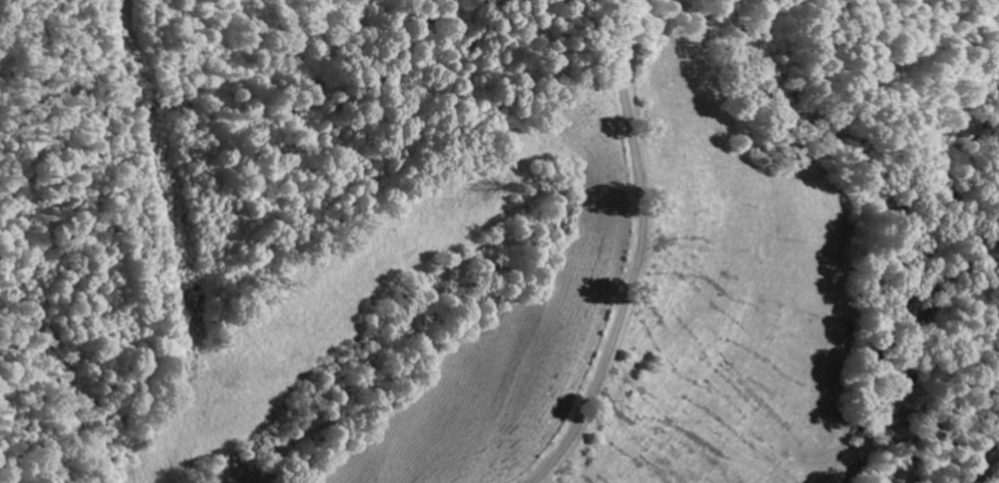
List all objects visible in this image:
road: (639, 253)

